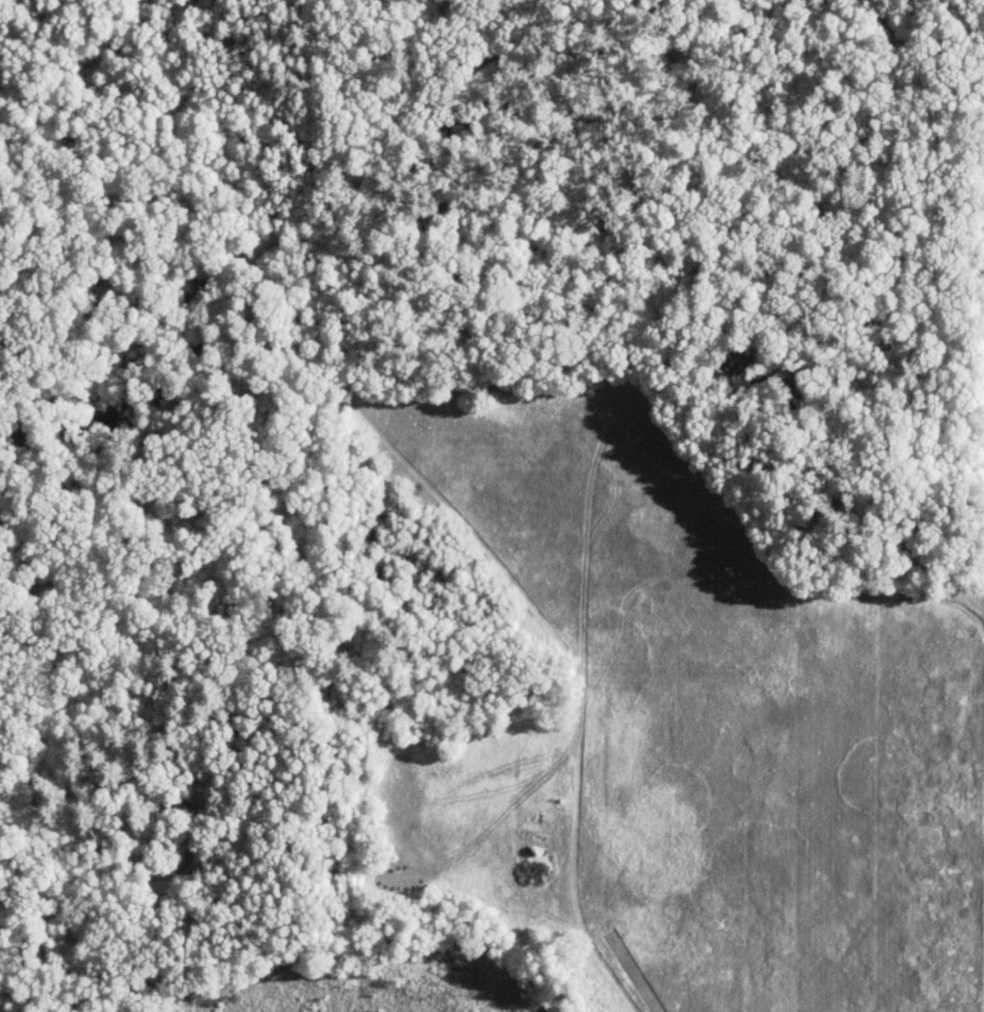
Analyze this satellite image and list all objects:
crop: (729, 718)

